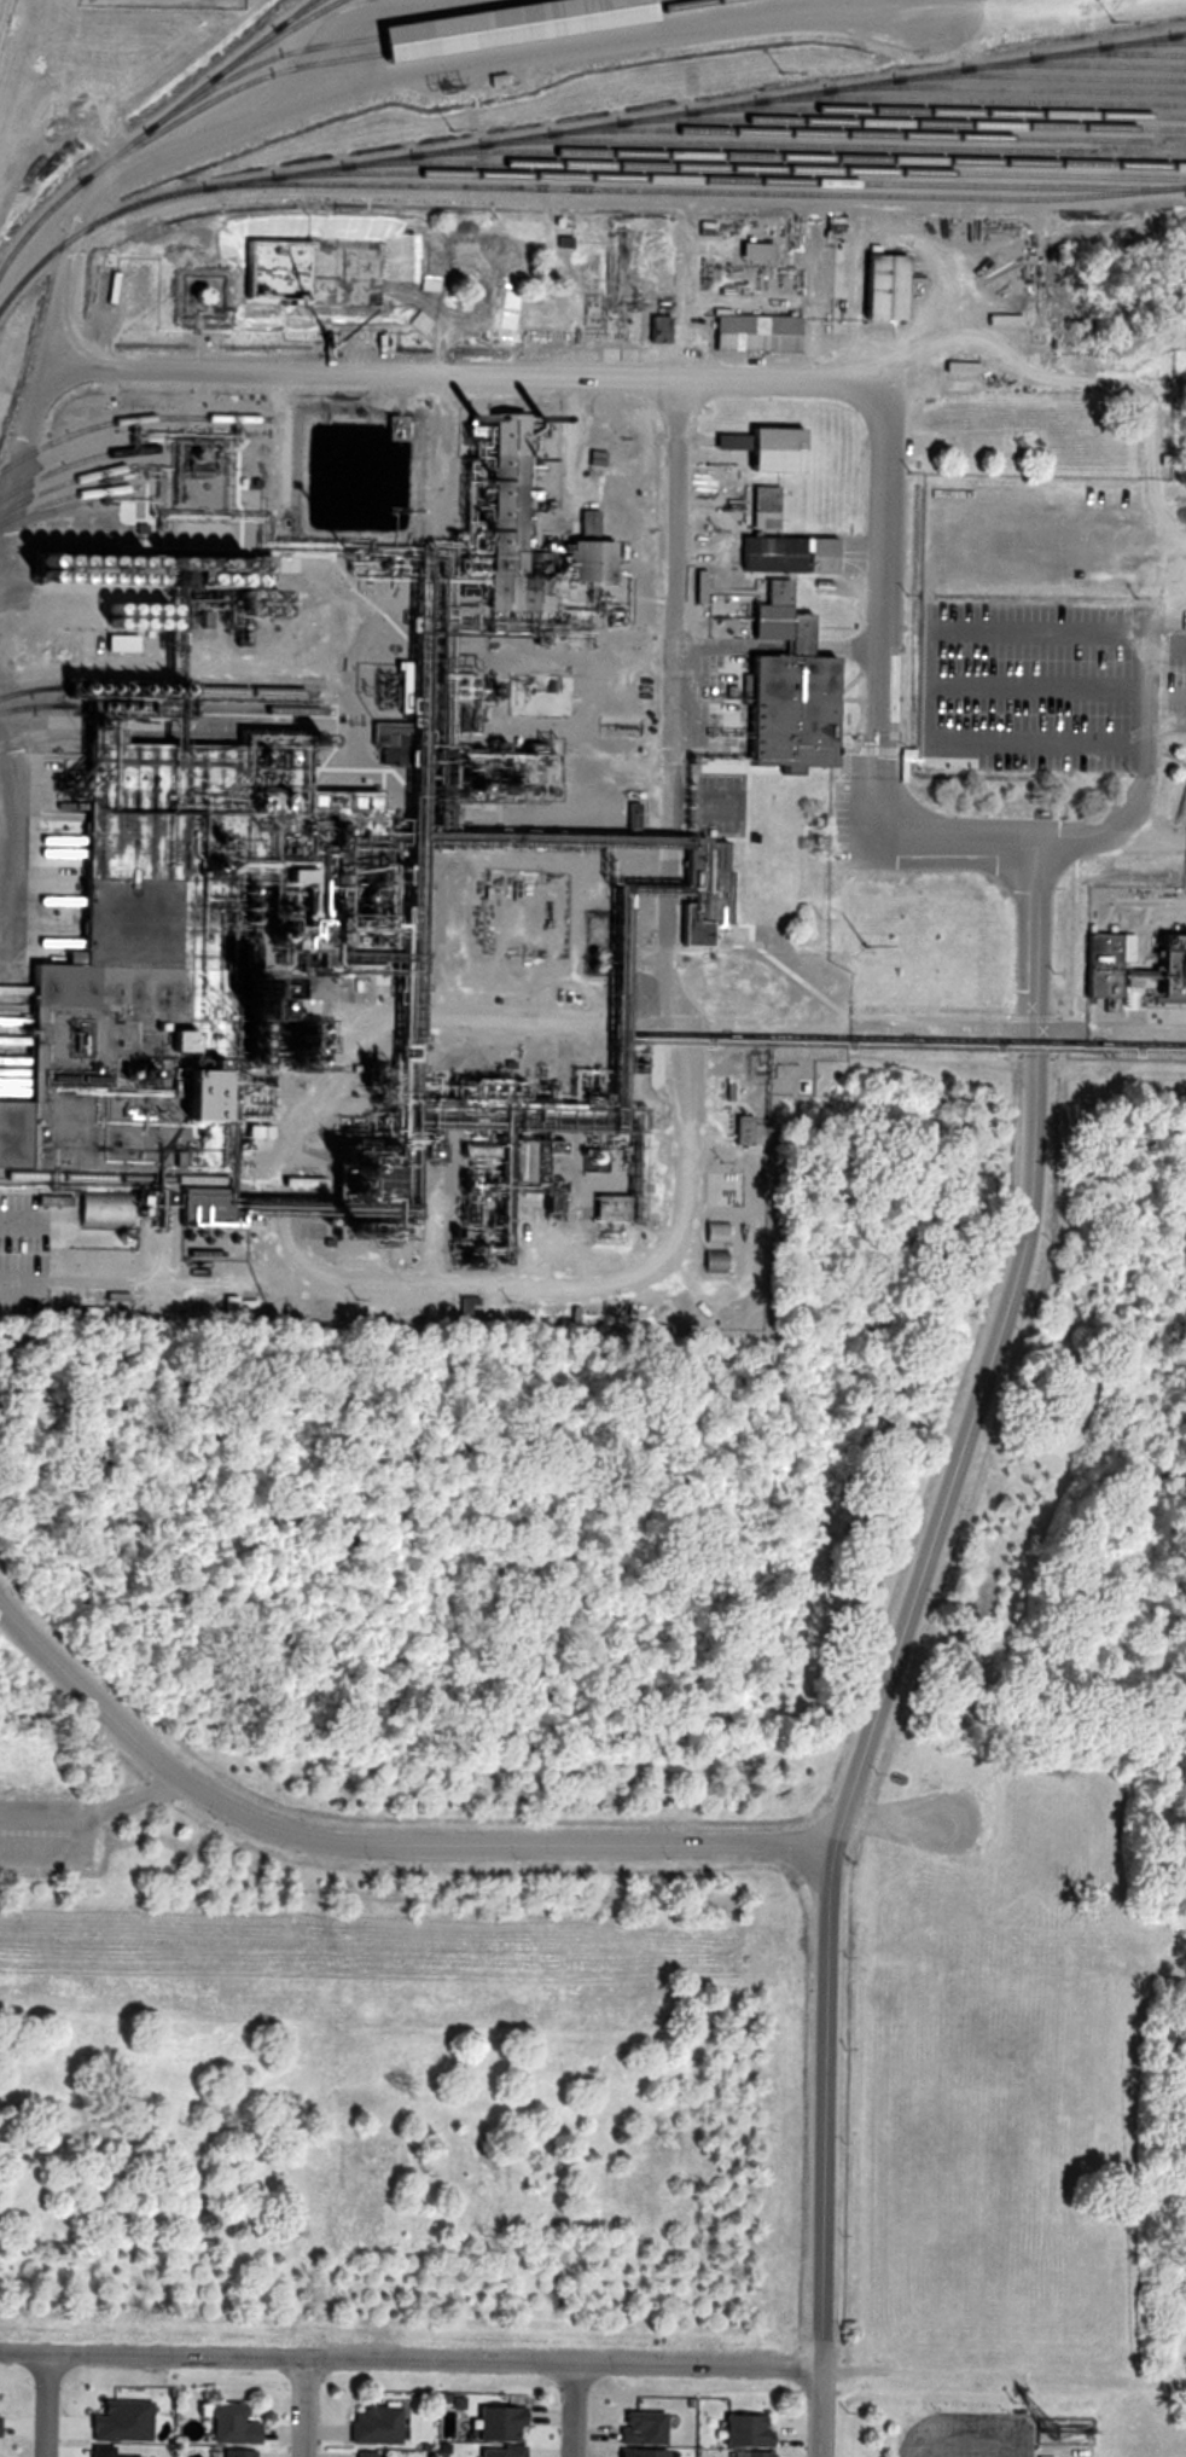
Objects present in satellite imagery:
building: (504, 23)
building: (883, 287)
building: (754, 336)
building: (771, 449)
building: (760, 503)
building: (511, 523)
building: (786, 554)
building: (586, 560)
building: (534, 760)
building: (752, 774)
building: (1097, 965)
building: (124, 1028)
building: (609, 1208)
building: (103, 1214)
park: (986, 2056)
building: (495, 2422)
building: (223, 2423)
building: (365, 2423)
building: (740, 2429)
building: (633, 2433)
building: (493, 2451)
building: (228, 2453)
building: (748, 2453)
building: (354, 2455)

